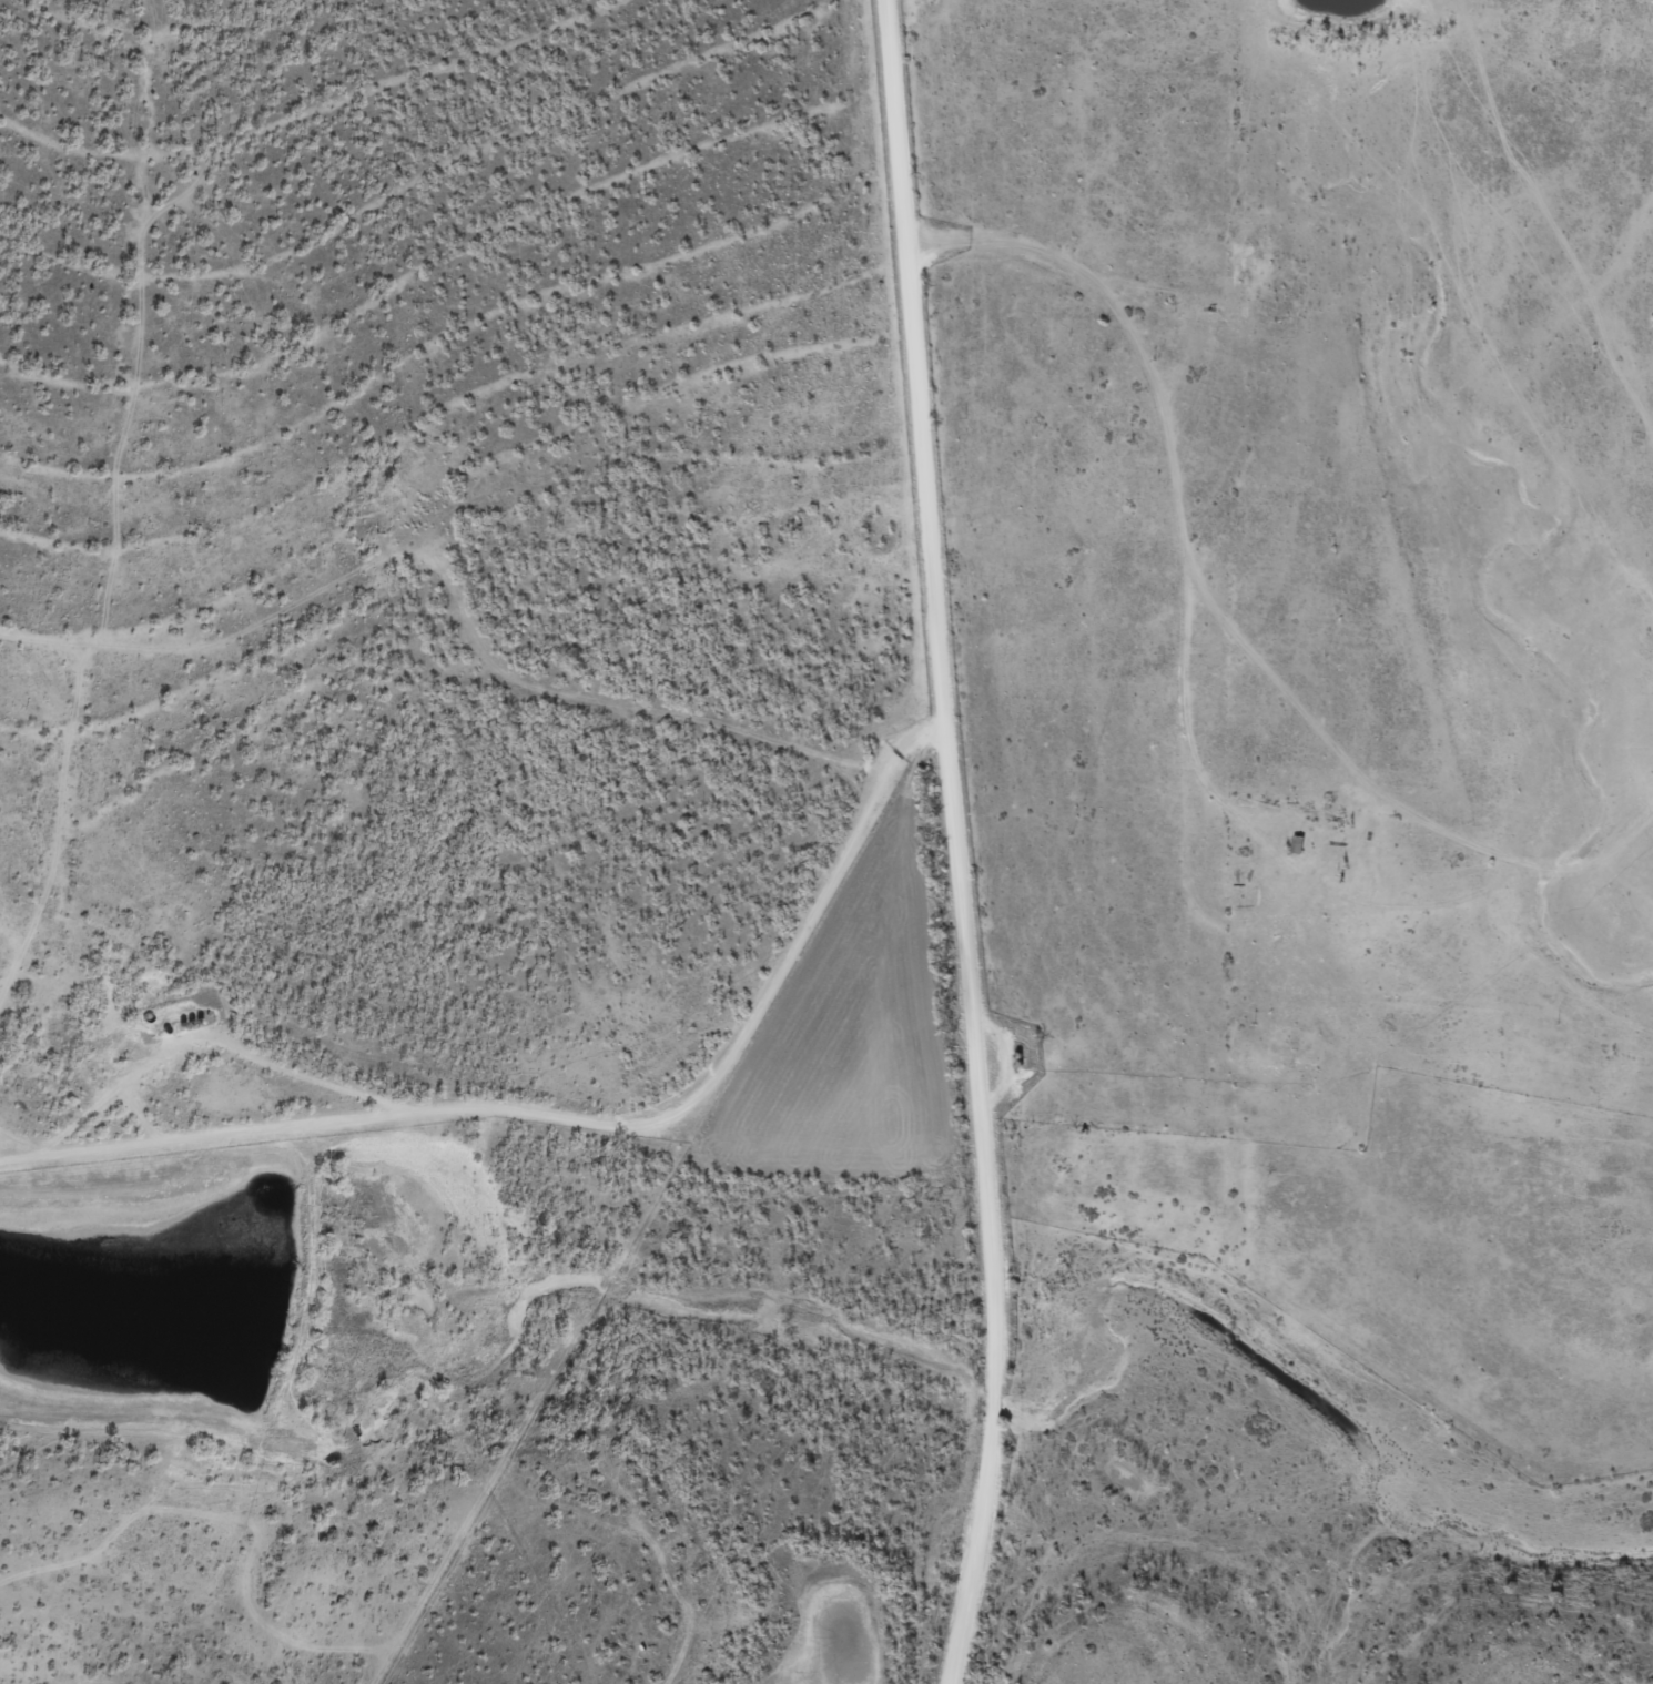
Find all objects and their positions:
road: (946, 842)

